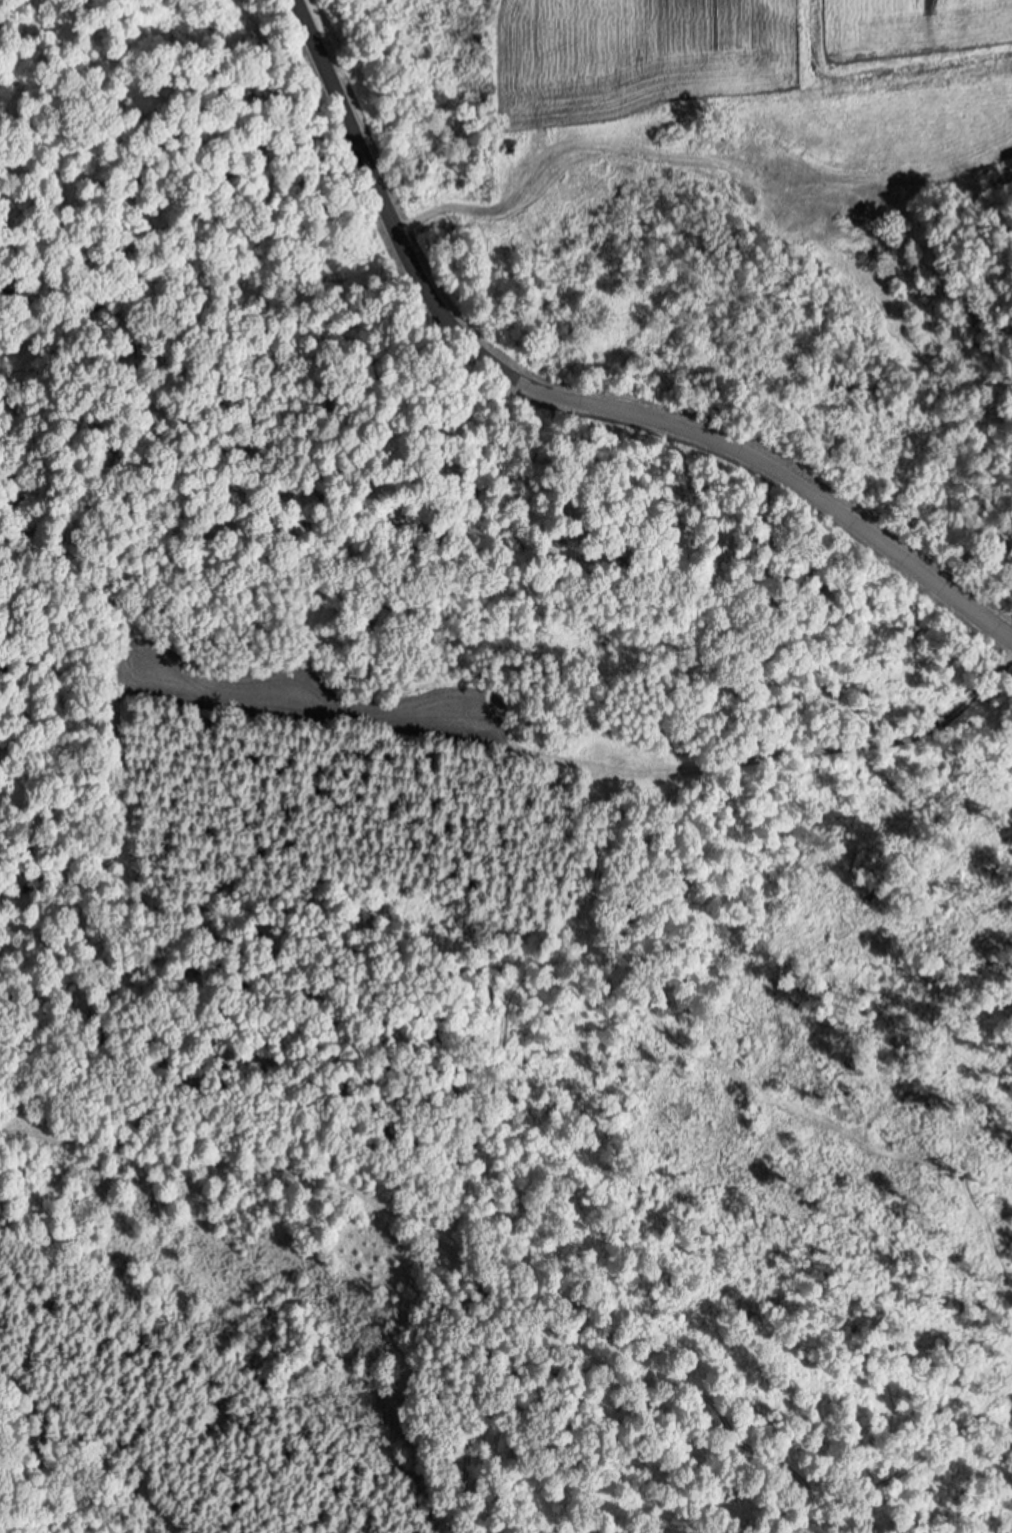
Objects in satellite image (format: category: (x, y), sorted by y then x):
road: (529, 175)
road: (572, 396)

